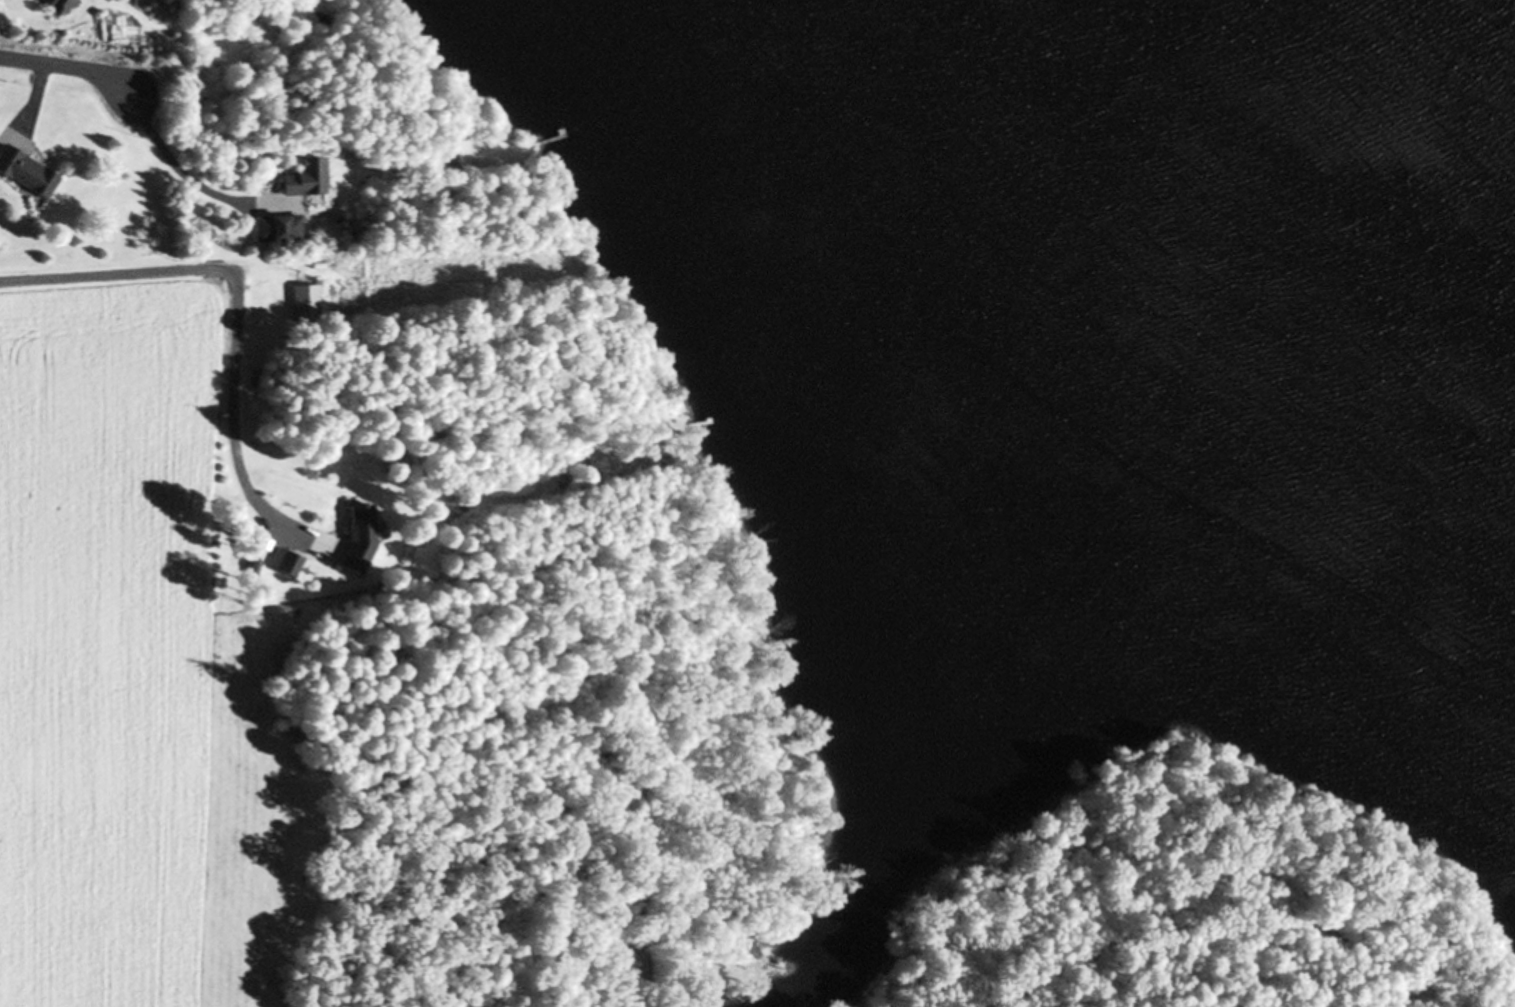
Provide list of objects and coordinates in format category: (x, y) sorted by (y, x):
building: (58, 6)
river: (1400, 70)
road: (72, 74)
building: (445, 172)
building: (24, 174)
building: (275, 228)
road: (233, 306)
building: (302, 306)
building: (354, 538)
building: (282, 563)
crop: (131, 676)

